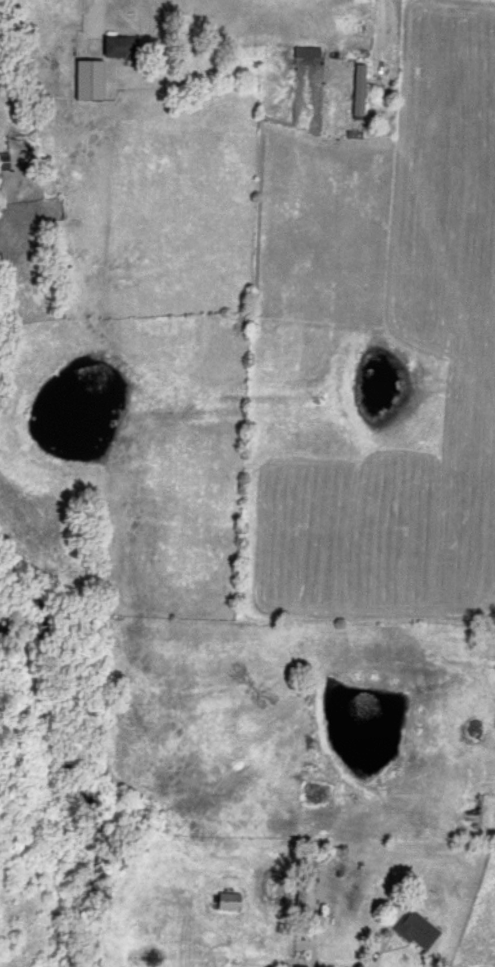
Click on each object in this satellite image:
building: (121, 47)
building: (308, 53)
building: (92, 81)
building: (358, 90)
building: (5, 164)
building: (306, 896)
building: (230, 903)
building: (416, 930)
road: (372, 953)

